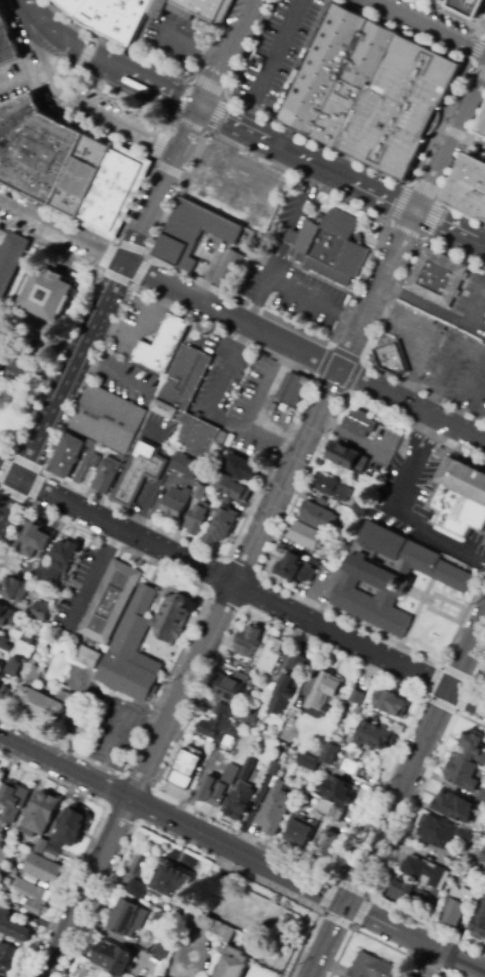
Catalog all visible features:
building: (70, 5)
building: (467, 5)
building: (203, 7)
building: (168, 9)
road: (450, 15)
building: (1, 16)
building: (113, 17)
road: (428, 26)
road: (481, 29)
road: (401, 32)
parking lot: (173, 39)
building: (7, 44)
parking lot: (275, 52)
road: (85, 53)
road: (227, 54)
road: (474, 55)
road: (105, 62)
road: (469, 63)
road: (155, 64)
road: (72, 78)
building: (369, 90)
road: (61, 98)
road: (80, 106)
traffic signals: (201, 109)
building: (18, 115)
road: (175, 118)
road: (169, 125)
building: (481, 127)
road: (190, 132)
road: (452, 133)
road: (452, 142)
road: (476, 144)
road: (157, 146)
road: (330, 146)
parking lot: (422, 149)
road: (142, 154)
building: (40, 156)
road: (308, 160)
road: (167, 169)
road: (451, 174)
building: (81, 175)
road: (409, 186)
building: (111, 187)
building: (468, 187)
road: (150, 209)
road: (390, 223)
road: (450, 229)
road: (61, 233)
building: (201, 241)
building: (330, 245)
road: (144, 255)
building: (11, 260)
building: (226, 268)
building: (437, 277)
road: (376, 290)
building: (48, 295)
road: (231, 314)
road: (76, 318)
road: (374, 331)
building: (161, 346)
building: (391, 358)
building: (3, 363)
road: (312, 376)
road: (316, 378)
building: (291, 388)
road: (61, 391)
building: (188, 397)
road: (411, 405)
building: (108, 418)
building: (359, 421)
building: (222, 438)
building: (344, 456)
building: (67, 457)
building: (86, 461)
building: (95, 461)
building: (186, 466)
building: (240, 468)
building: (139, 472)
road: (40, 475)
building: (106, 475)
building: (231, 488)
building: (332, 488)
building: (200, 493)
building: (214, 496)
building: (462, 499)
building: (224, 500)
building: (177, 502)
building: (359, 510)
building: (212, 517)
building: (317, 517)
building: (197, 519)
building: (222, 525)
building: (306, 536)
building: (35, 541)
road: (268, 553)
building: (58, 562)
building: (315, 562)
building: (294, 569)
road: (93, 574)
building: (392, 577)
road: (242, 588)
building: (14, 589)
building: (111, 602)
road: (242, 609)
building: (41, 612)
building: (8, 616)
road: (191, 626)
building: (30, 641)
building: (248, 642)
building: (4, 643)
building: (126, 643)
road: (466, 650)
building: (271, 655)
building: (89, 658)
building: (297, 663)
building: (15, 667)
building: (247, 671)
road: (190, 673)
road: (475, 673)
building: (1, 678)
building: (243, 678)
road: (471, 681)
building: (227, 689)
building: (282, 693)
building: (5, 694)
building: (322, 695)
building: (356, 699)
building: (45, 701)
building: (391, 703)
building: (251, 718)
building: (219, 725)
building: (337, 734)
building: (285, 736)
building: (374, 737)
building: (474, 747)
building: (332, 753)
building: (308, 762)
building: (350, 767)
road: (64, 768)
building: (273, 768)
building: (185, 770)
building: (462, 773)
building: (217, 787)
building: (241, 794)
road: (396, 796)
building: (481, 796)
building: (13, 800)
building: (334, 801)
building: (454, 806)
building: (275, 810)
building: (40, 815)
building: (73, 826)
building: (300, 831)
building: (439, 832)
road: (89, 839)
building: (327, 845)
building: (42, 846)
road: (184, 846)
road: (390, 848)
road: (236, 851)
building: (52, 852)
building: (10, 859)
building: (482, 862)
building: (42, 869)
building: (426, 872)
building: (11, 873)
building: (482, 880)
building: (170, 883)
building: (134, 888)
building: (408, 894)
building: (32, 896)
building: (466, 896)
building: (439, 897)
traffic signals: (345, 904)
building: (161, 906)
building: (453, 913)
building: (127, 918)
building: (204, 920)
building: (479, 921)
building: (13, 925)
road: (352, 928)
road: (414, 938)
road: (327, 940)
road: (377, 941)
building: (161, 952)
building: (6, 956)
building: (113, 958)
building: (232, 962)
building: (373, 968)
building: (410, 976)

